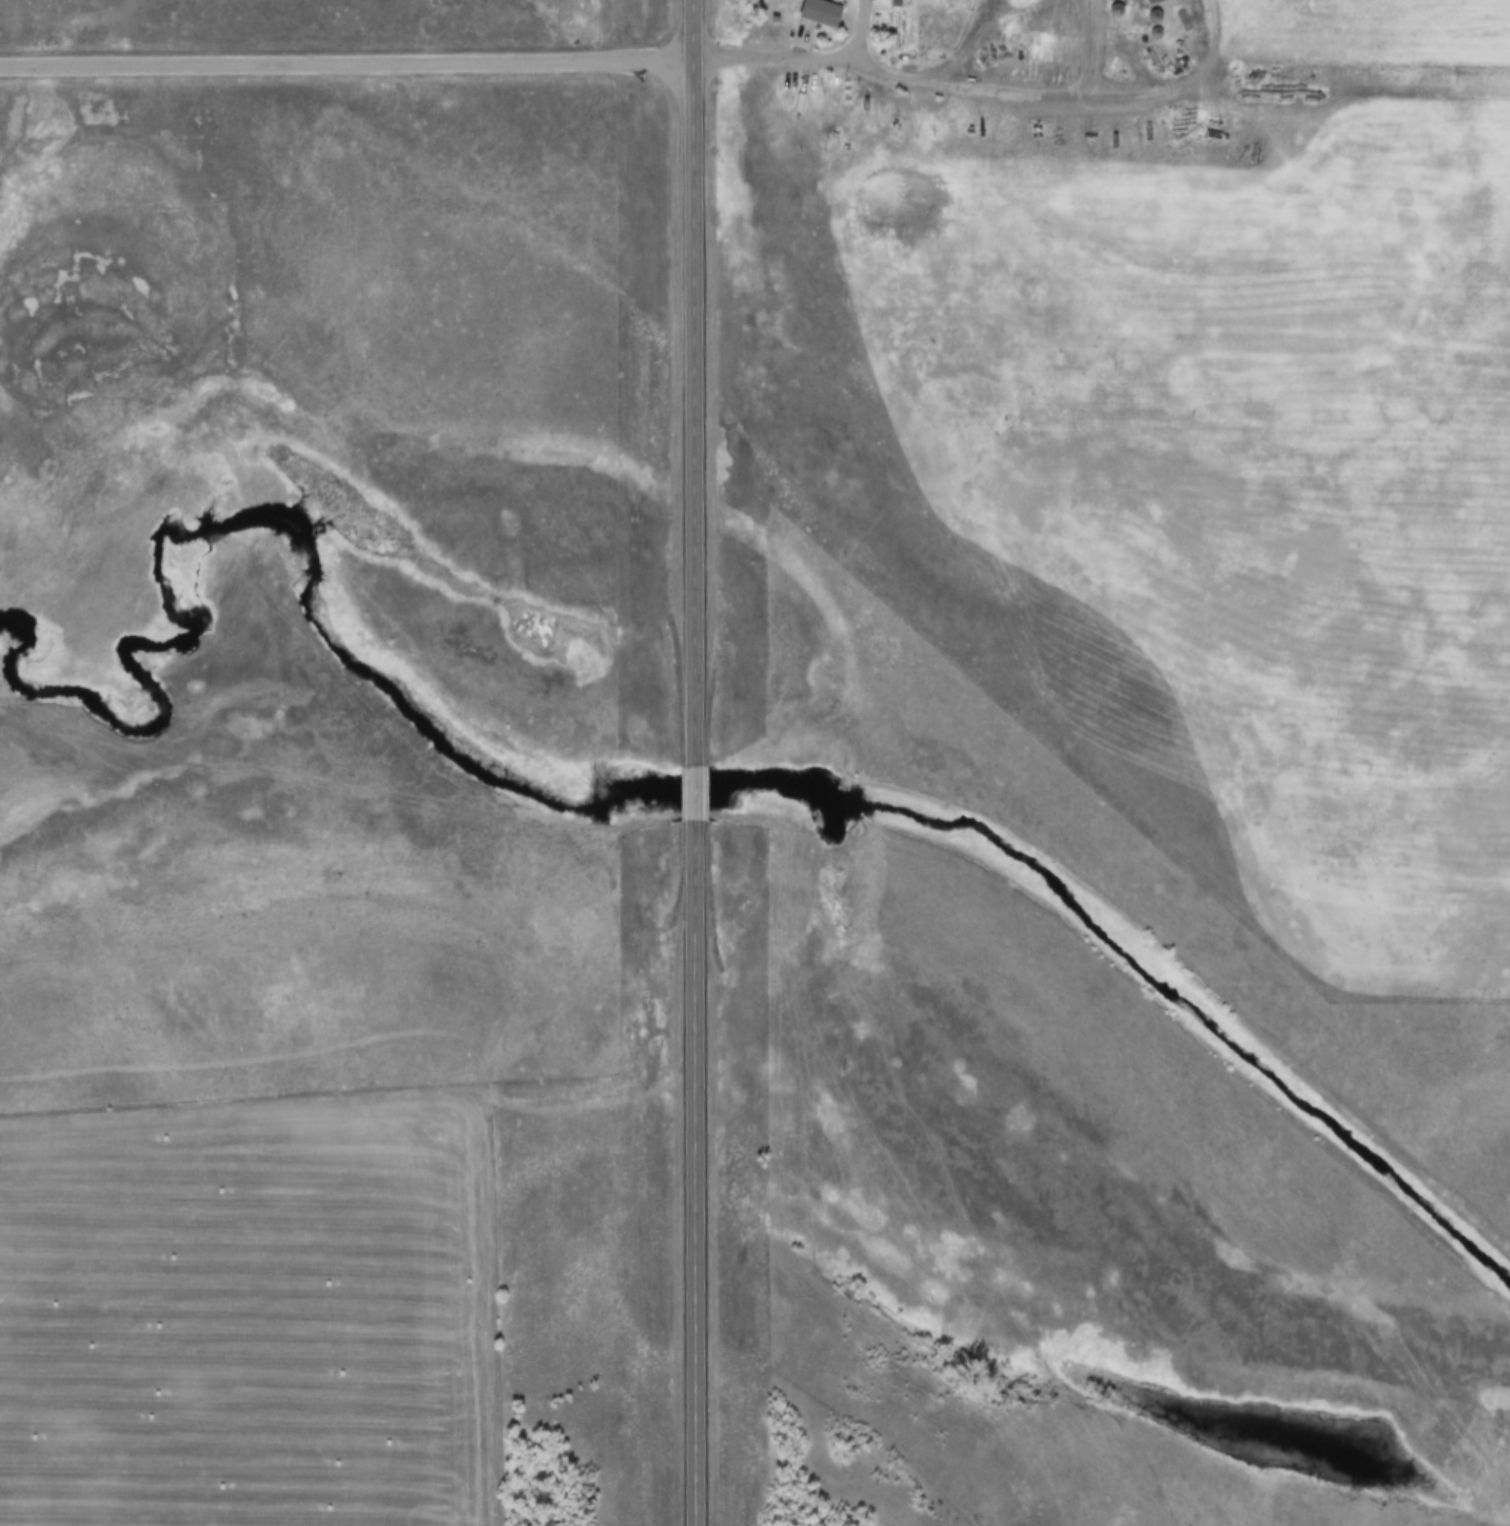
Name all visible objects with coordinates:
building: (1117, 0)
building: (1154, 1)
building: (1116, 11)
building: (818, 13)
road: (803, 58)
road: (348, 60)
road: (693, 382)
road: (688, 791)
road: (691, 1172)

